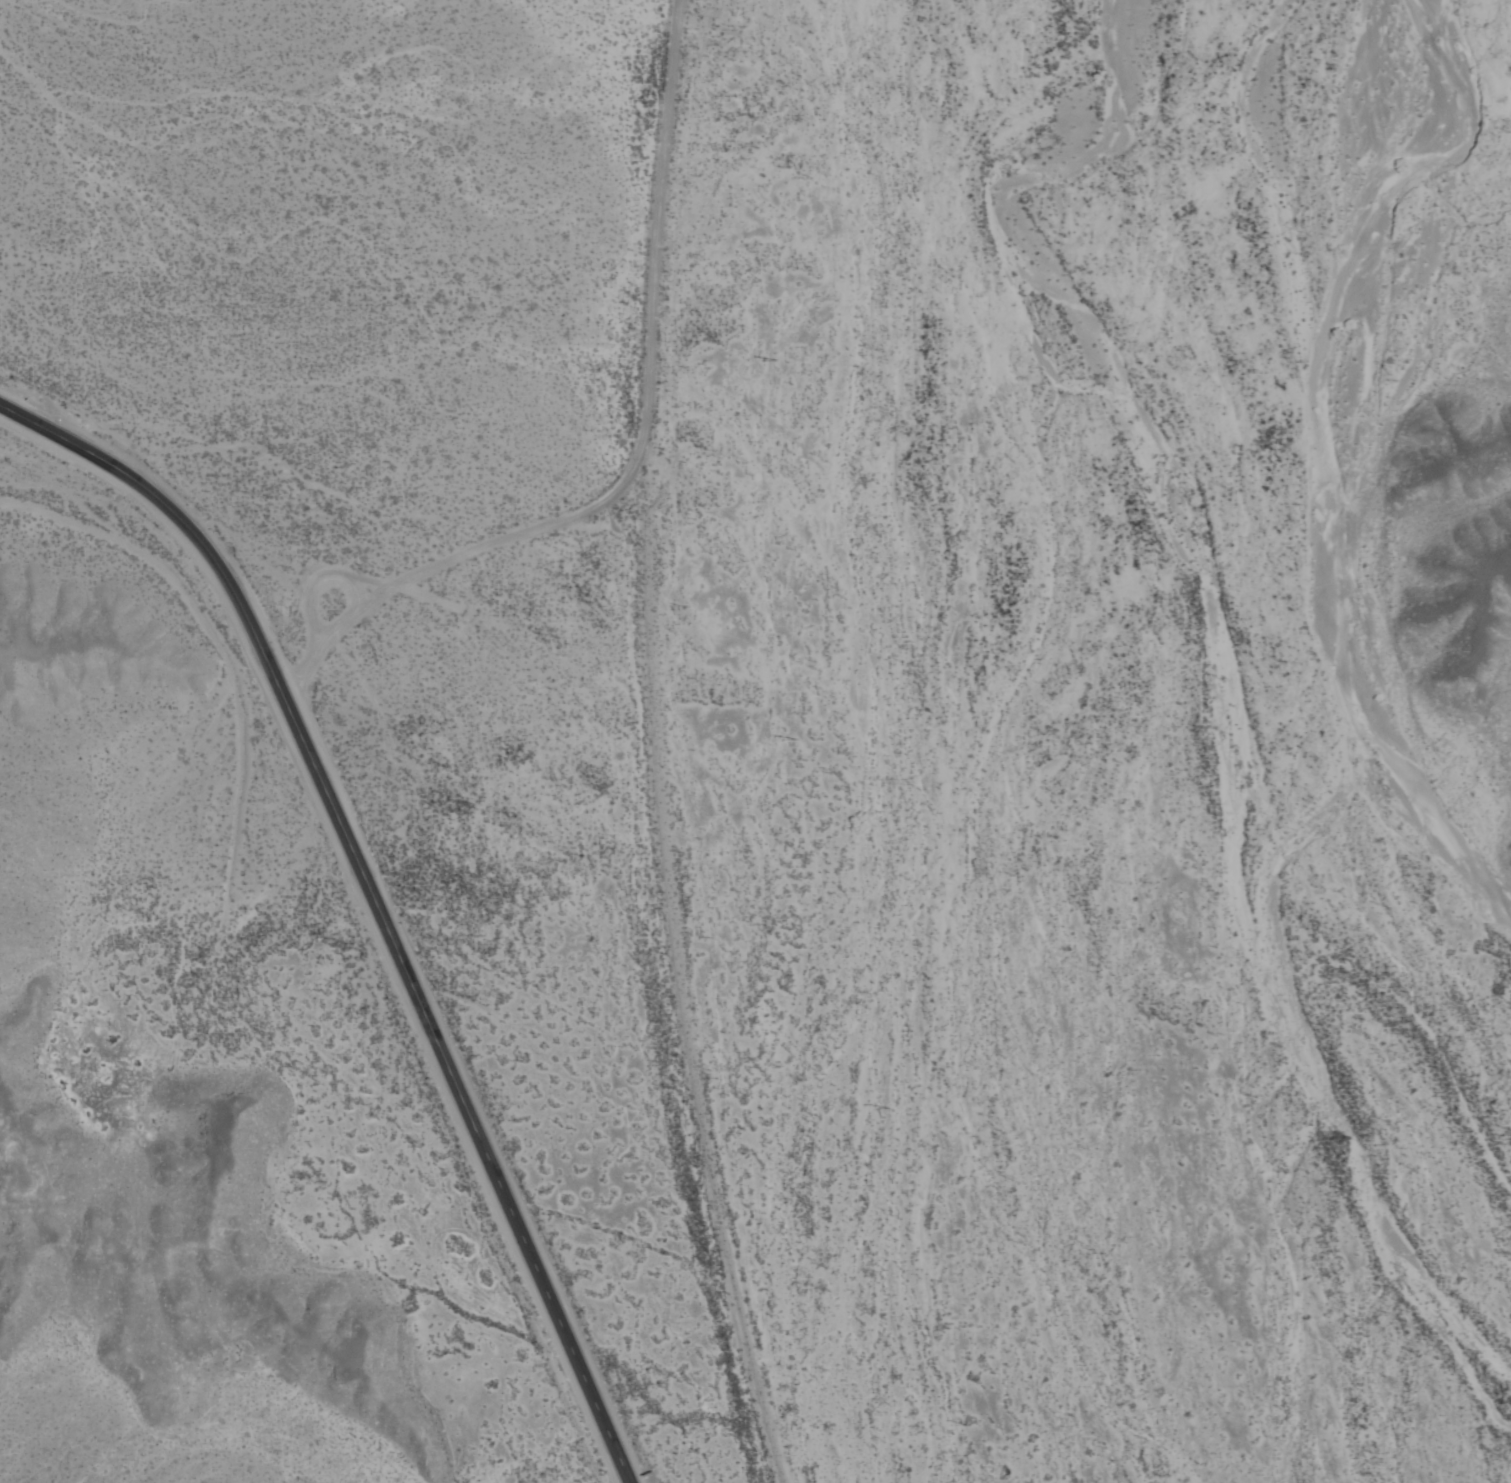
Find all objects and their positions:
road: (646, 395)
road: (352, 597)
river: (1314, 692)
road: (373, 900)

